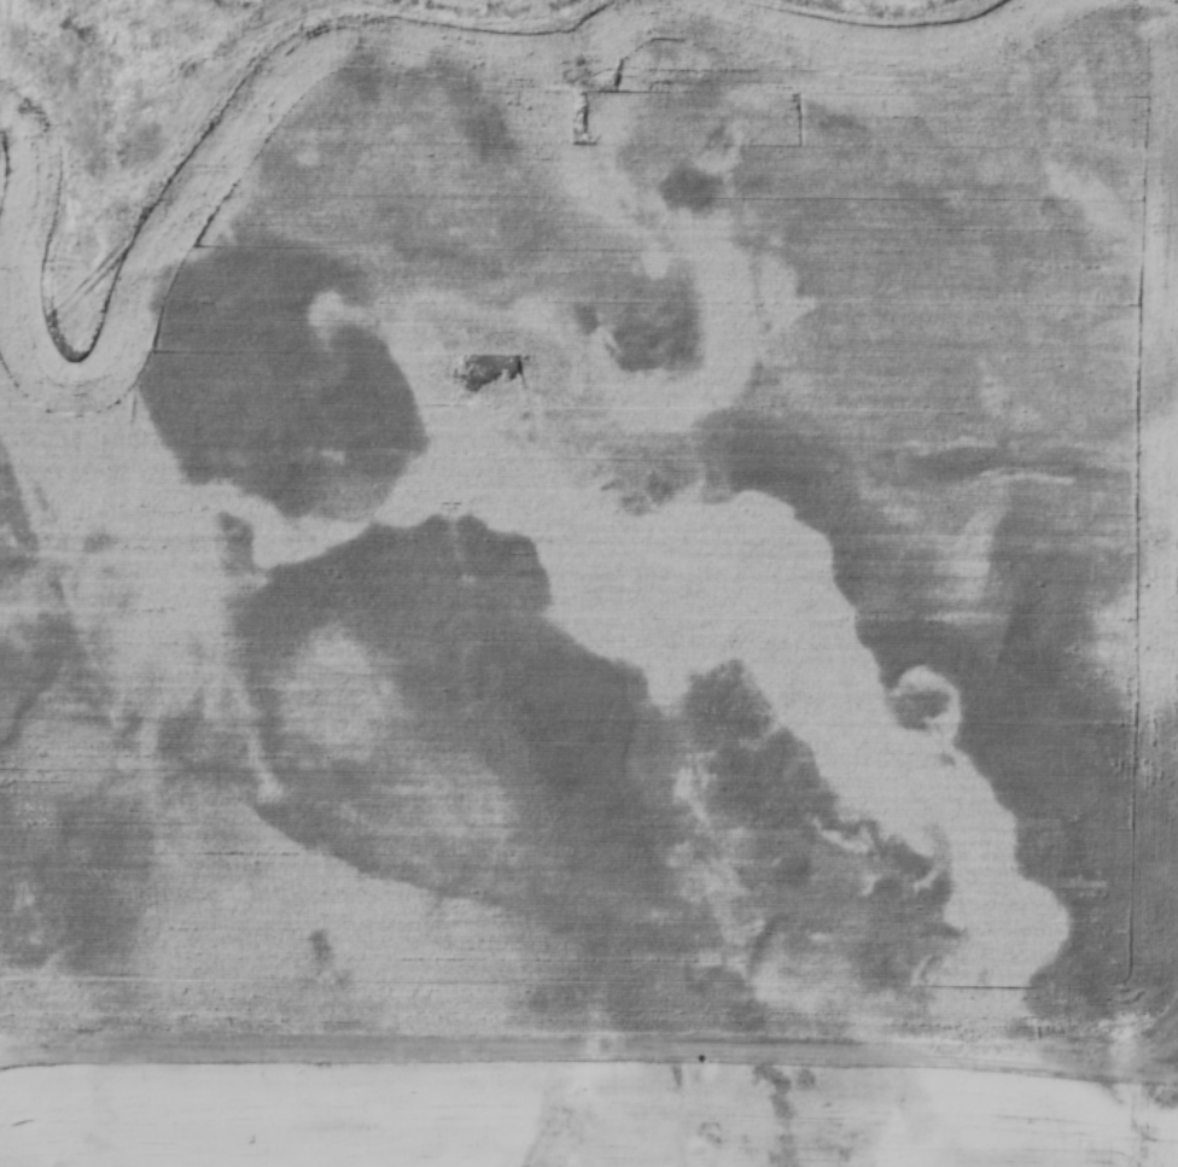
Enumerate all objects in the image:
road: (589, 1055)

